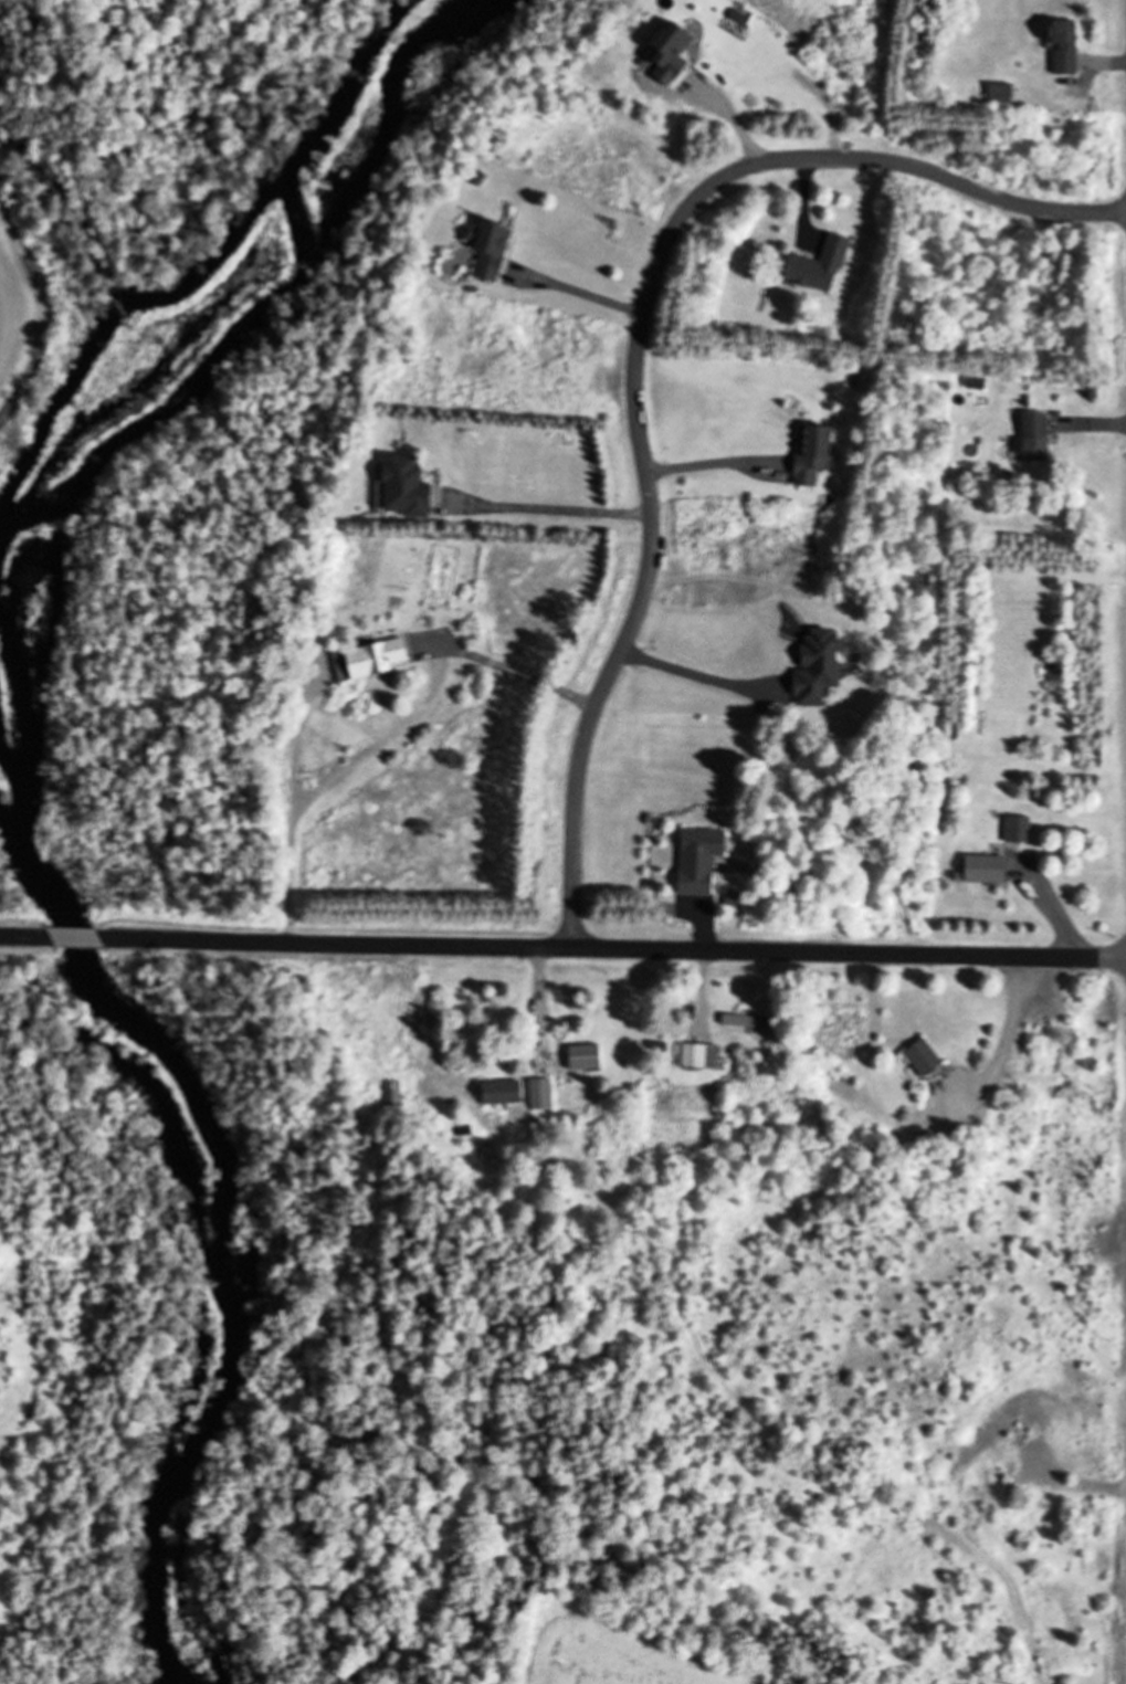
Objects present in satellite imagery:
building: (1061, 44)
building: (486, 245)
building: (815, 264)
road: (581, 290)
river: (271, 317)
river: (108, 323)
road: (633, 348)
building: (974, 381)
building: (1031, 435)
building: (808, 452)
building: (401, 486)
road: (561, 508)
building: (372, 656)
building: (1014, 828)
building: (695, 859)
building: (981, 869)
building: (63, 902)
road: (27, 935)
road: (75, 936)
road: (611, 949)
building: (744, 1019)
building: (701, 1054)
building: (581, 1055)
building: (919, 1055)
building: (499, 1090)
building: (390, 1092)
building: (539, 1092)
building: (460, 1129)
river: (229, 1189)
building: (995, 1682)

